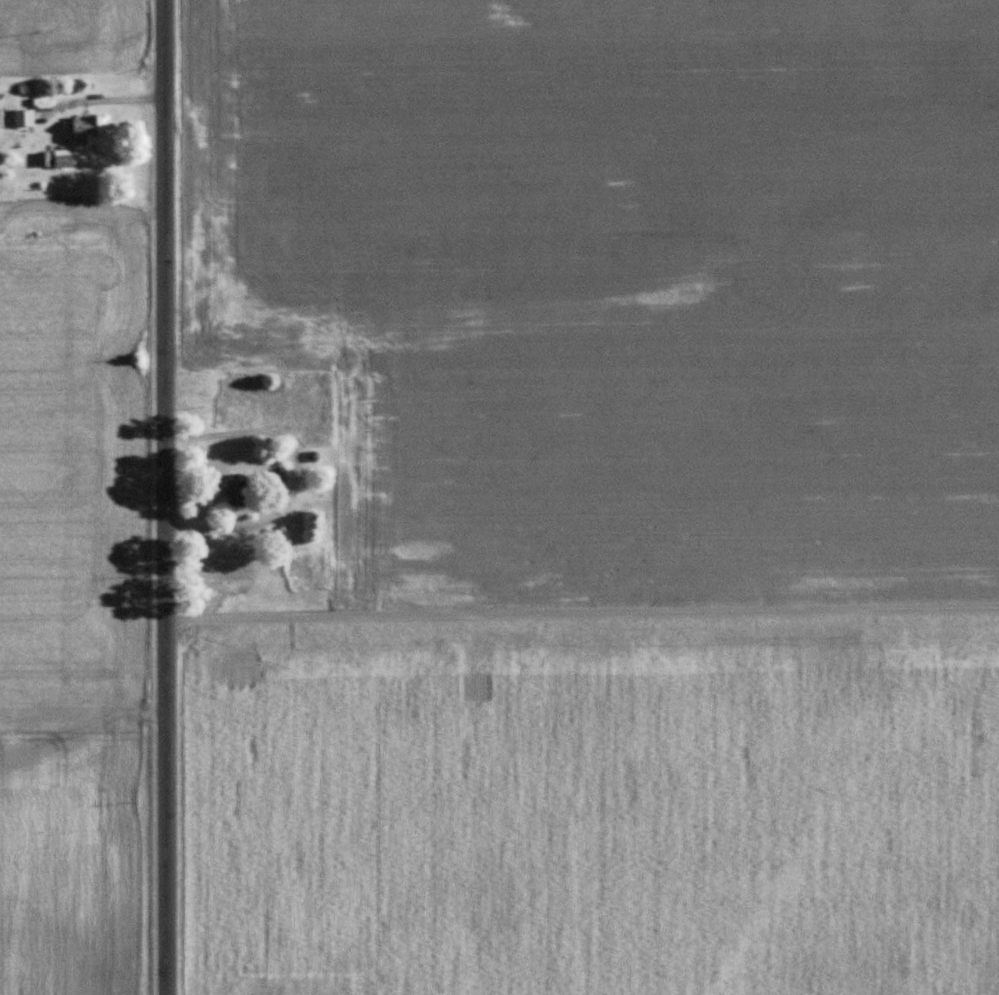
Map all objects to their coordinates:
building: (24, 118)
building: (91, 130)
building: (64, 159)
building: (307, 404)
road: (301, 473)
building: (279, 477)
building: (236, 494)
road: (162, 497)
building: (299, 563)
road: (581, 605)

